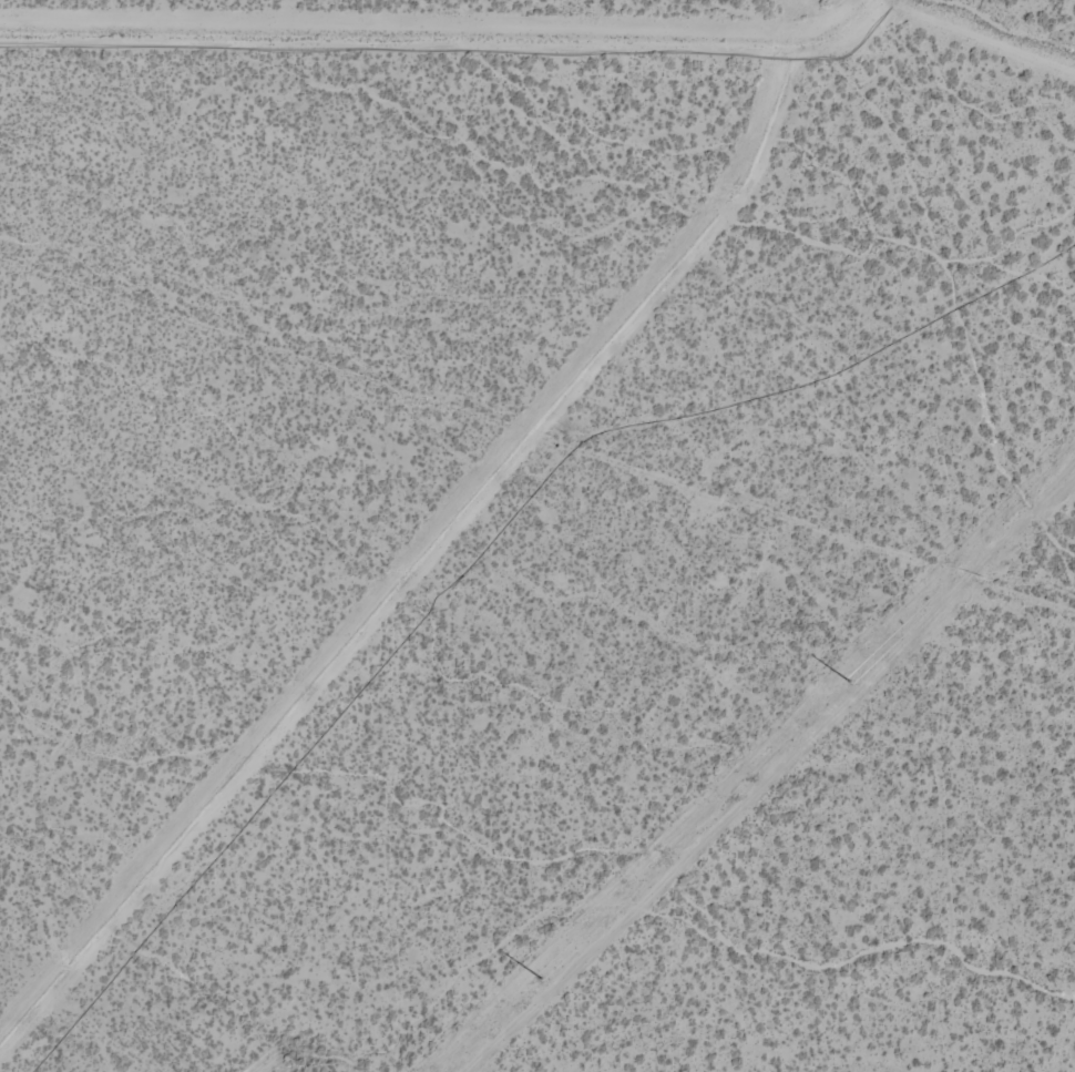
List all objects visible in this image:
road: (537, 410)

